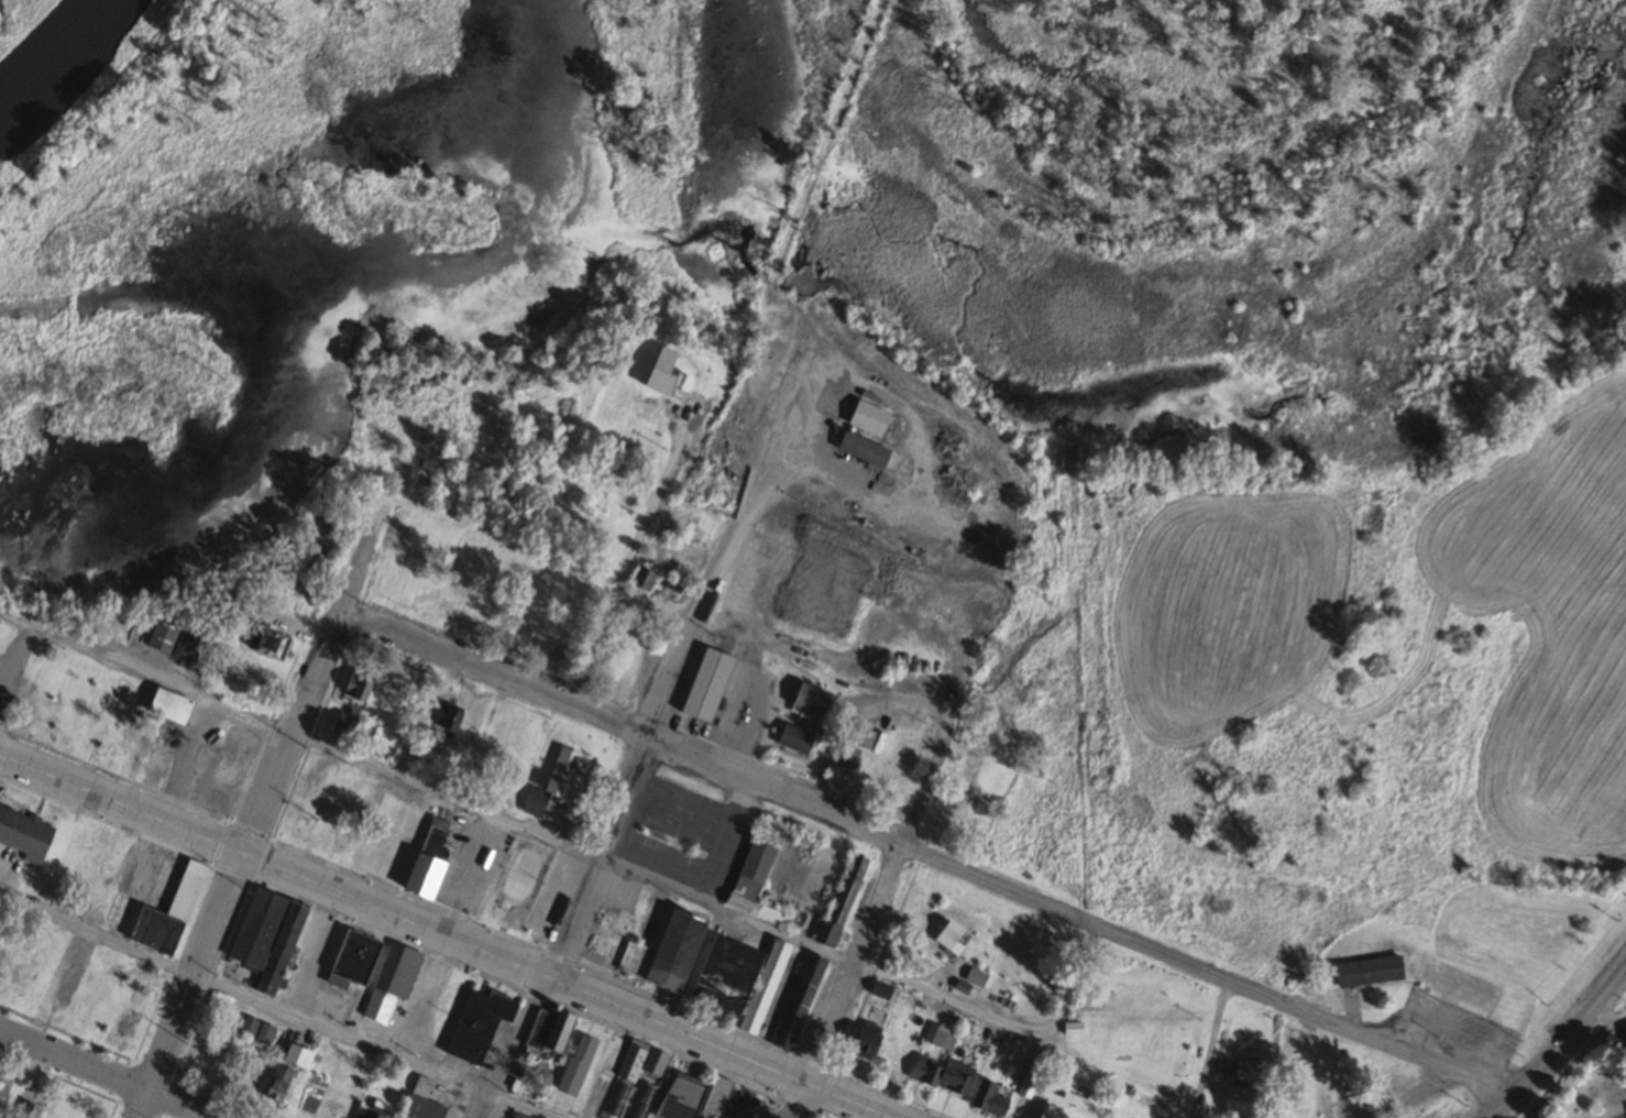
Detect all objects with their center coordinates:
river: (54, 58)
building: (659, 373)
building: (867, 419)
building: (861, 450)
building: (319, 533)
road: (631, 560)
building: (644, 577)
crop: (1334, 615)
building: (171, 636)
building: (268, 642)
road: (133, 667)
building: (705, 683)
building: (355, 686)
building: (809, 699)
building: (167, 706)
building: (442, 719)
building: (344, 724)
road: (618, 727)
building: (856, 734)
road: (641, 737)
building: (792, 738)
building: (847, 757)
building: (156, 761)
building: (215, 766)
building: (553, 782)
building: (213, 797)
building: (303, 822)
road: (254, 826)
building: (23, 836)
building: (402, 847)
building: (347, 850)
building: (518, 881)
building: (751, 883)
building: (841, 900)
road: (719, 911)
building: (155, 913)
road: (869, 913)
building: (946, 935)
road: (440, 938)
building: (265, 939)
building: (609, 942)
building: (673, 950)
building: (352, 960)
building: (396, 971)
road: (1202, 972)
building: (1366, 972)
building: (975, 977)
building: (737, 980)
building: (1451, 984)
building: (61, 990)
building: (881, 990)
building: (798, 1001)
road: (272, 1007)
building: (231, 1021)
building: (477, 1023)
building: (556, 1029)
building: (255, 1031)
building: (864, 1040)
road: (1561, 1044)
road: (1207, 1050)
building: (620, 1059)
building: (653, 1062)
building: (208, 1063)
building: (575, 1064)
building: (1248, 1071)
building: (941, 1074)
road: (102, 1075)
building: (276, 1084)
building: (0, 1096)
road: (1411, 1096)
building: (678, 1097)
building: (715, 1097)
building: (987, 1098)
building: (420, 1100)
building: (615, 1100)
road: (792, 1100)
building: (1238, 1101)
building: (1058, 1106)
building: (367, 1112)
building: (518, 1115)

